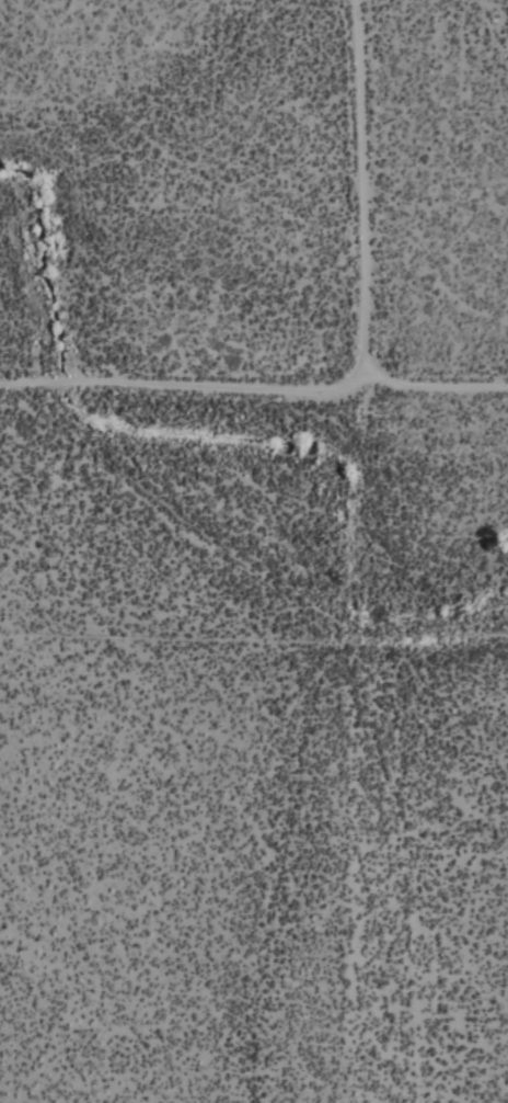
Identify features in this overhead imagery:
road: (355, 196)
road: (434, 389)
road: (174, 390)

